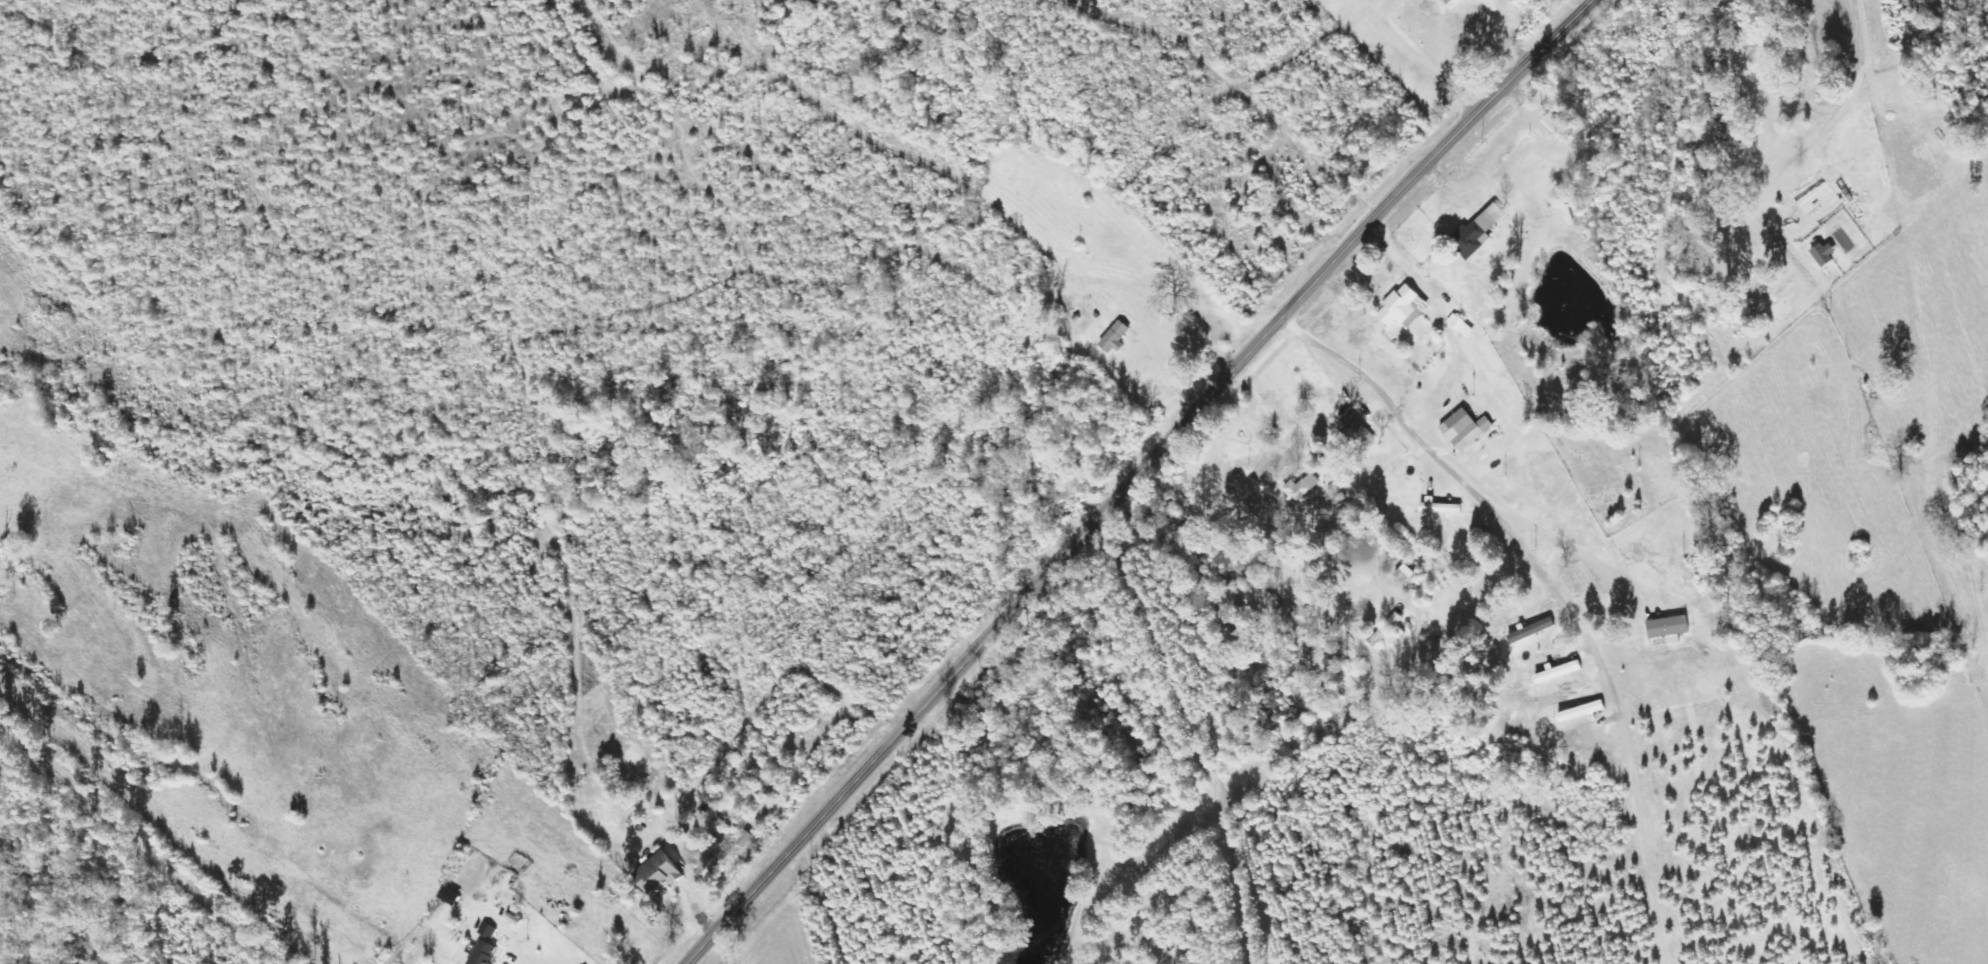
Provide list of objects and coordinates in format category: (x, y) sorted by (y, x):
building: (1451, 3)
building: (1475, 233)
building: (1822, 255)
road: (1851, 257)
building: (1401, 308)
road: (933, 313)
building: (1113, 338)
building: (1353, 429)
building: (1463, 429)
road: (1136, 476)
building: (1300, 491)
road: (1473, 493)
building: (1439, 507)
road: (1594, 556)
building: (1666, 629)
building: (1529, 631)
building: (1556, 673)
road: (1216, 713)
road: (142, 826)
building: (655, 876)
building: (491, 932)
building: (488, 953)

